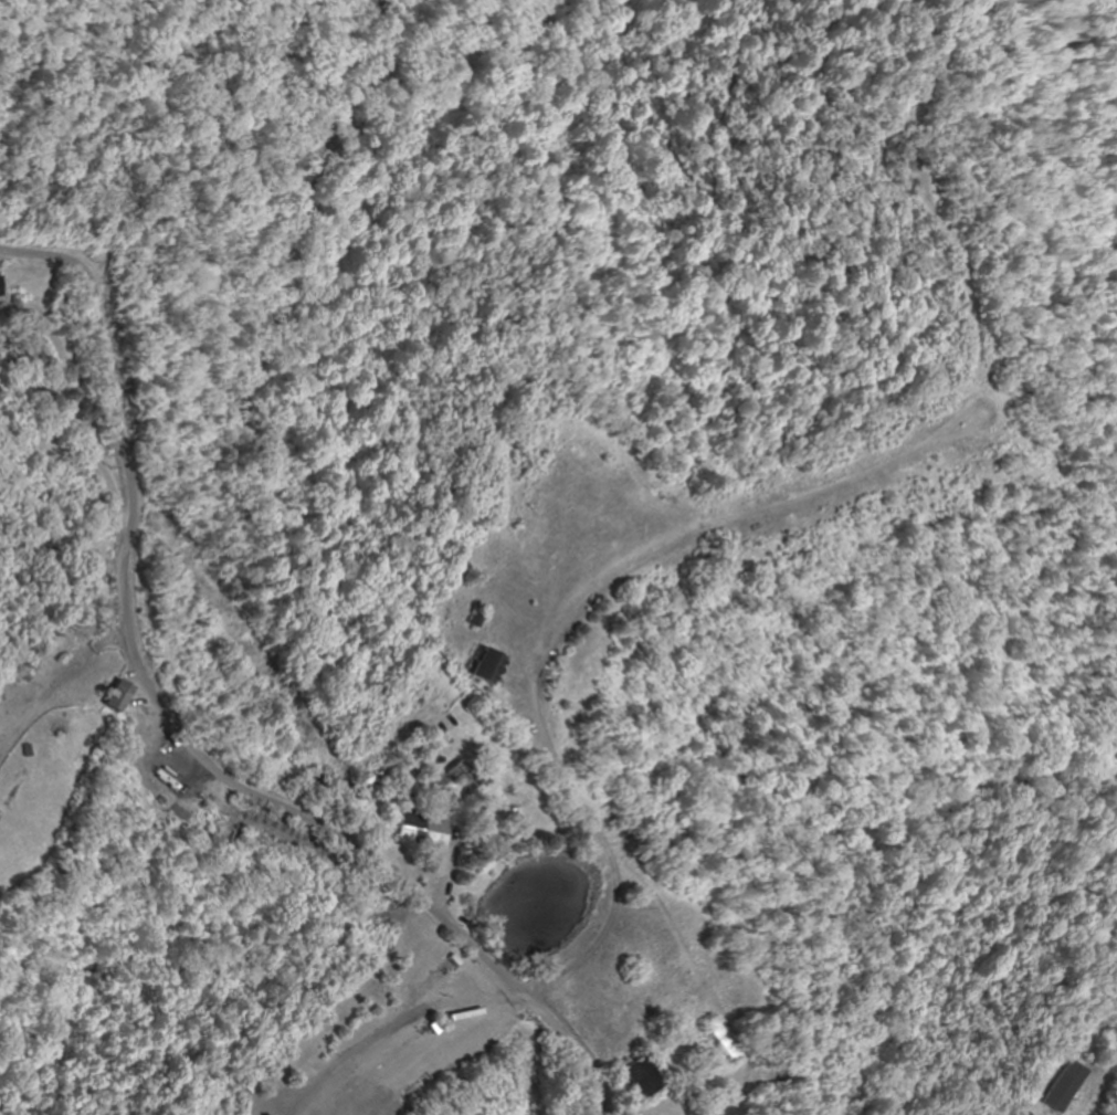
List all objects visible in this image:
road: (185, 741)

